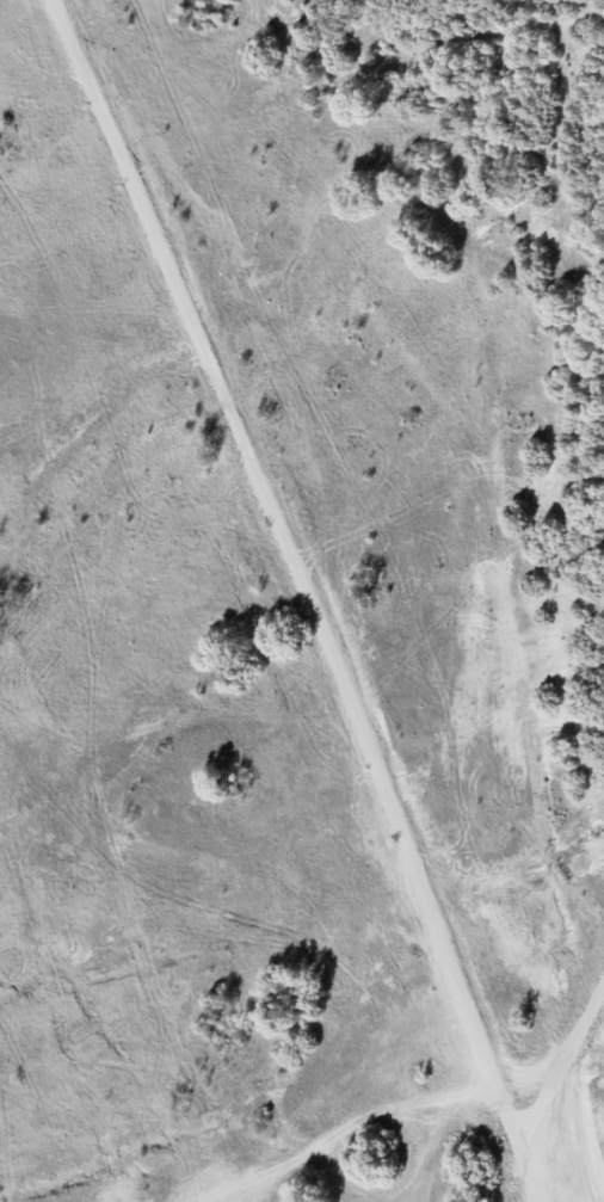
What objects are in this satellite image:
road: (304, 598)

